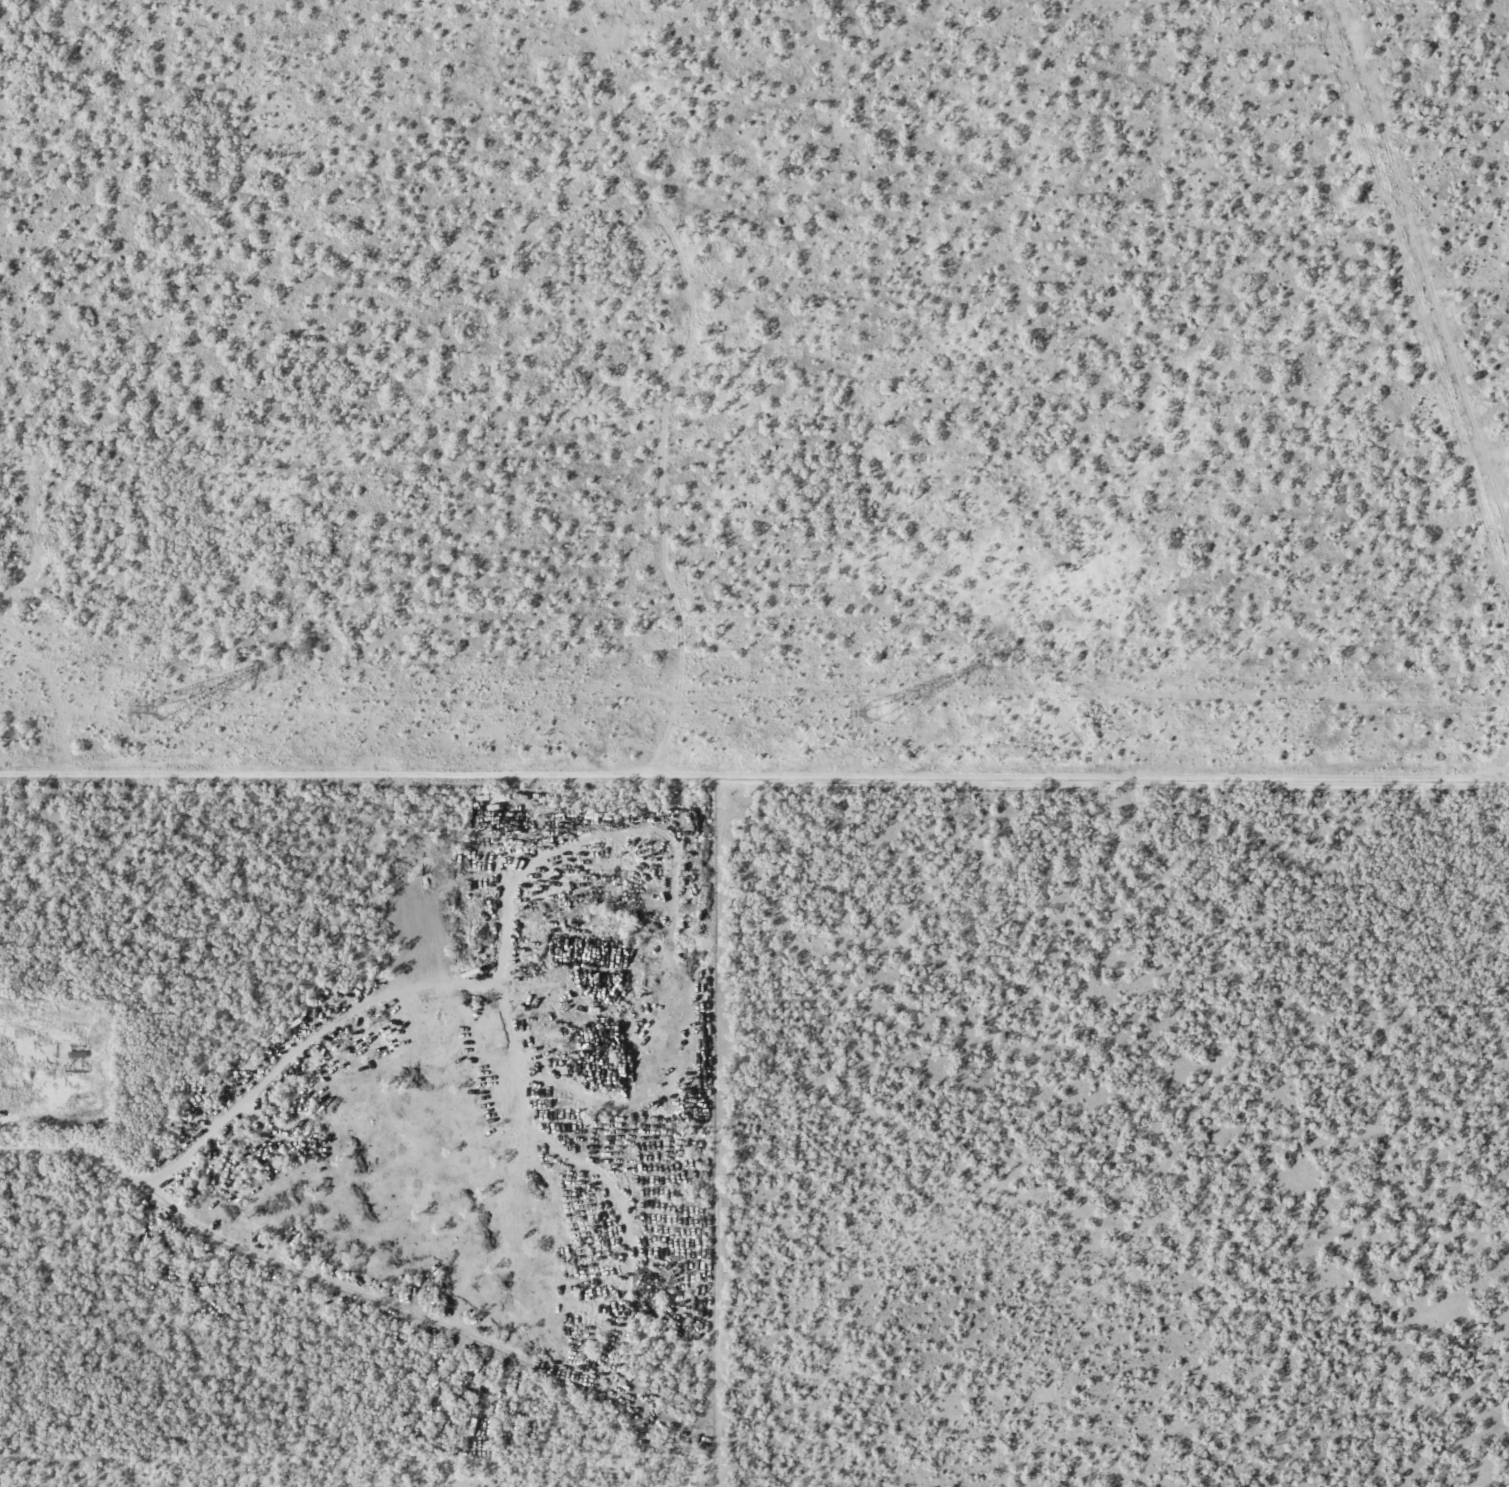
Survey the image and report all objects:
power tower: (172, 712)
power tower: (878, 716)
road: (754, 793)

